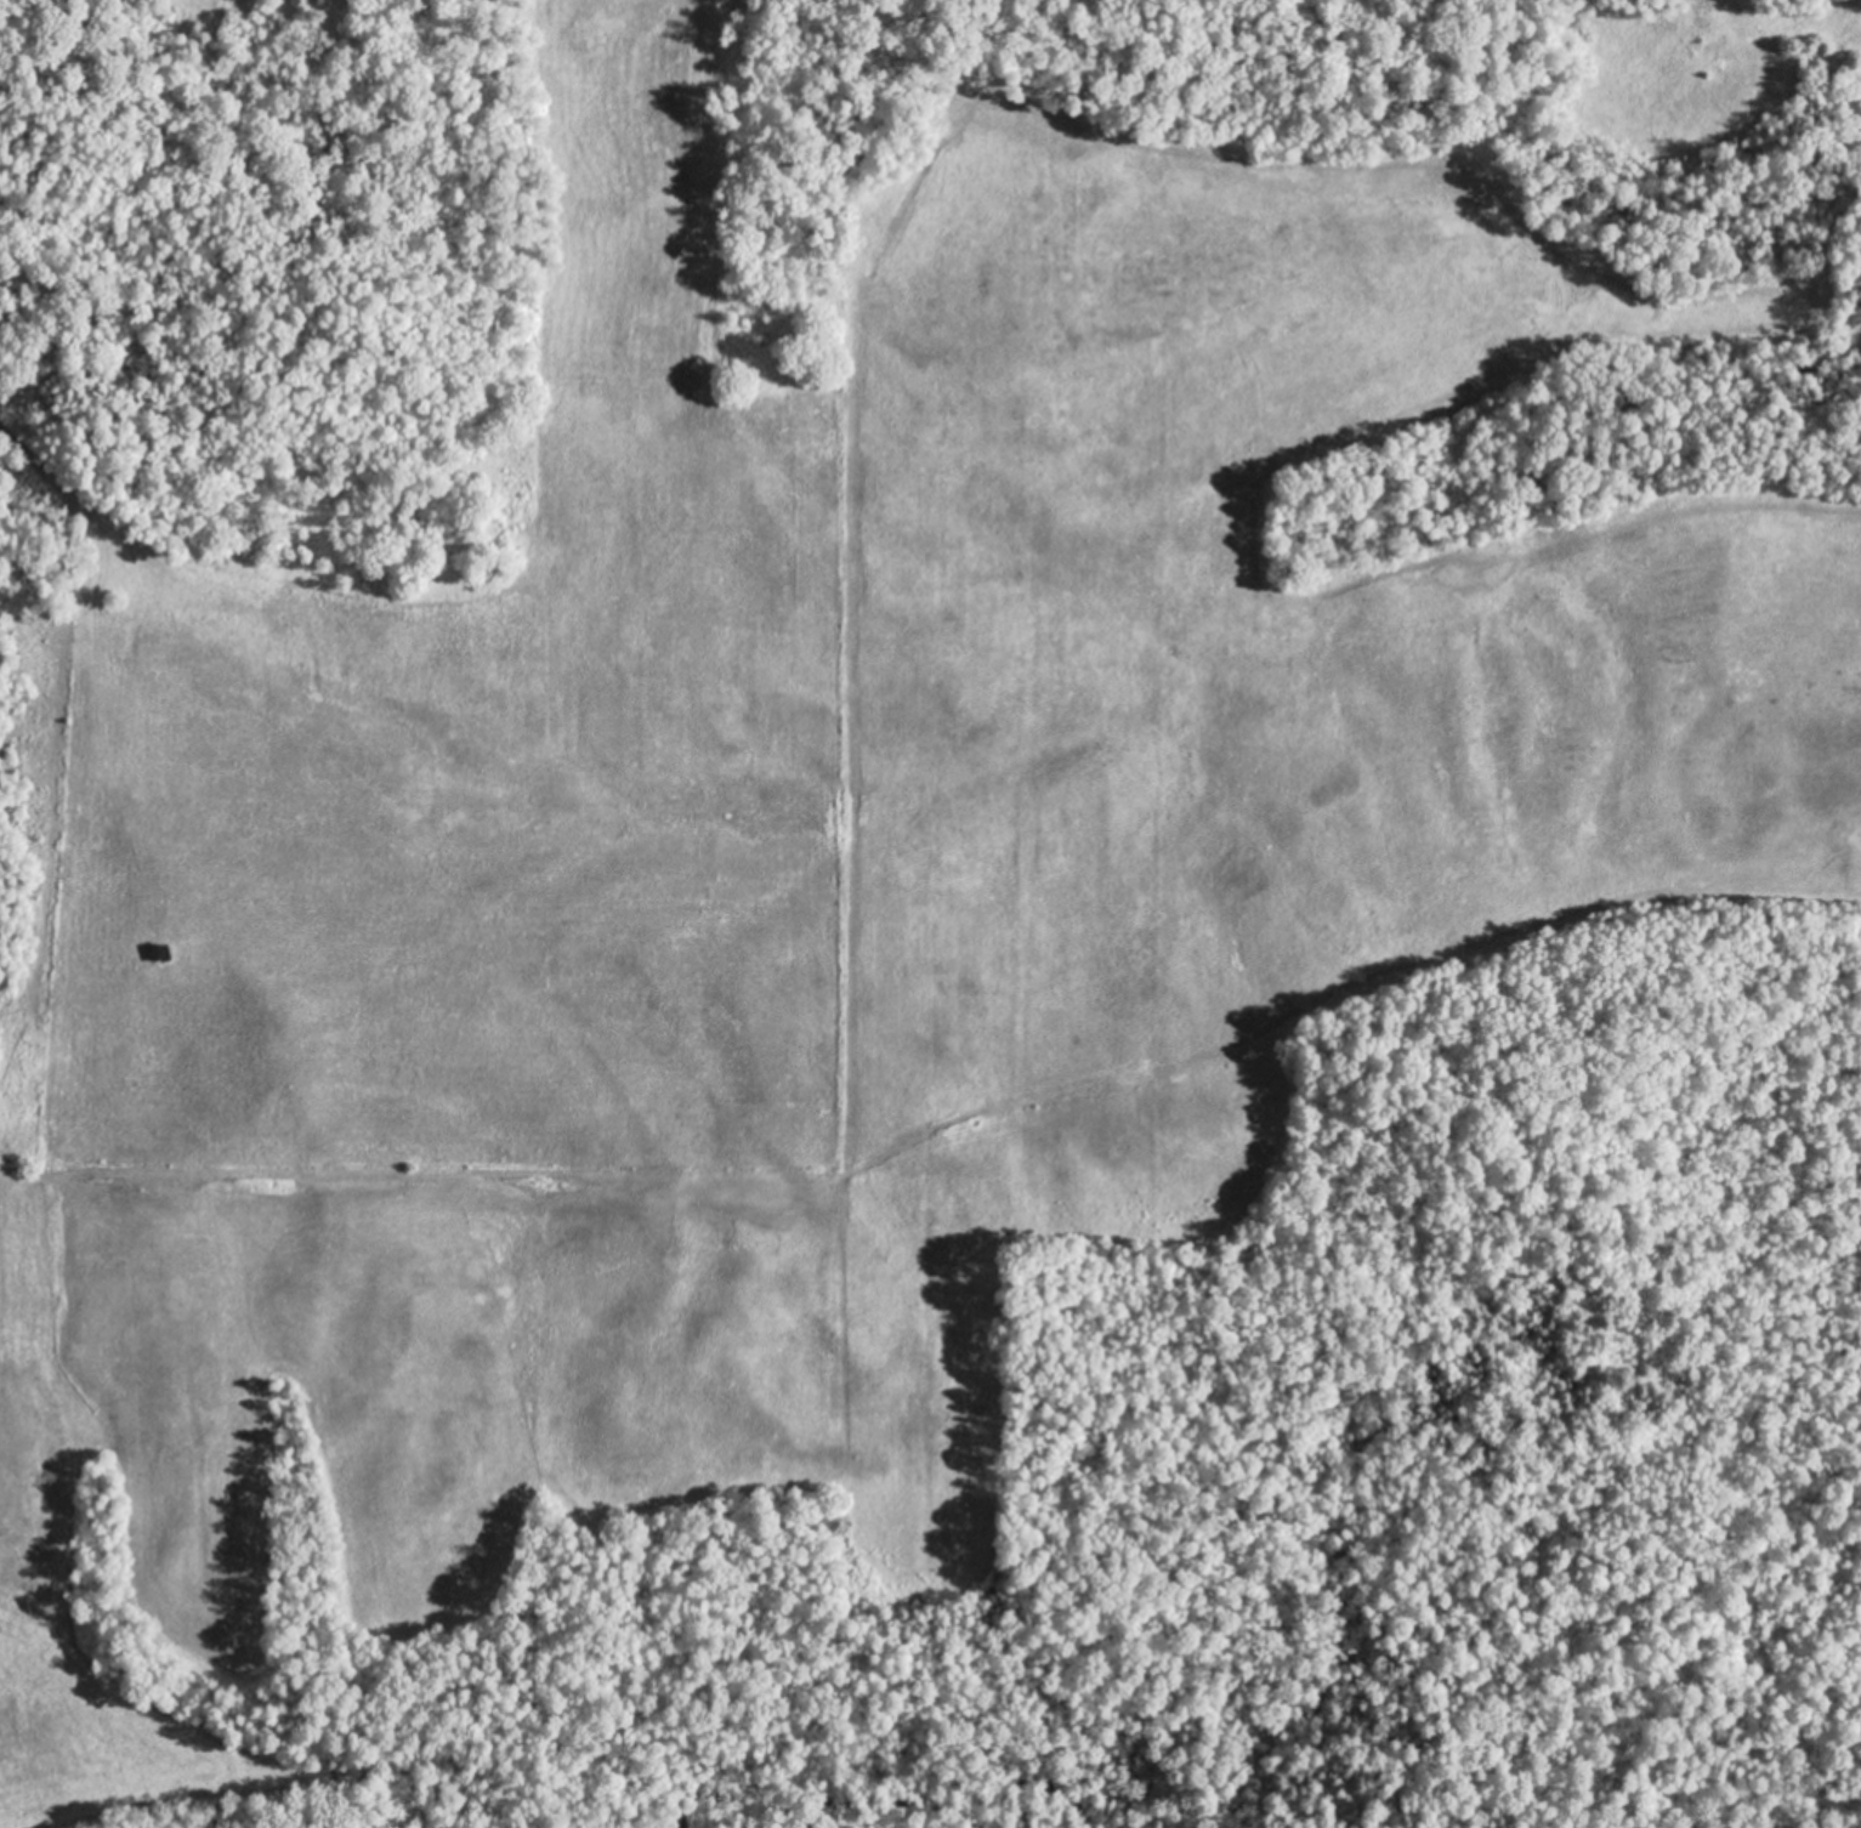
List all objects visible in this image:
road: (784, 587)

